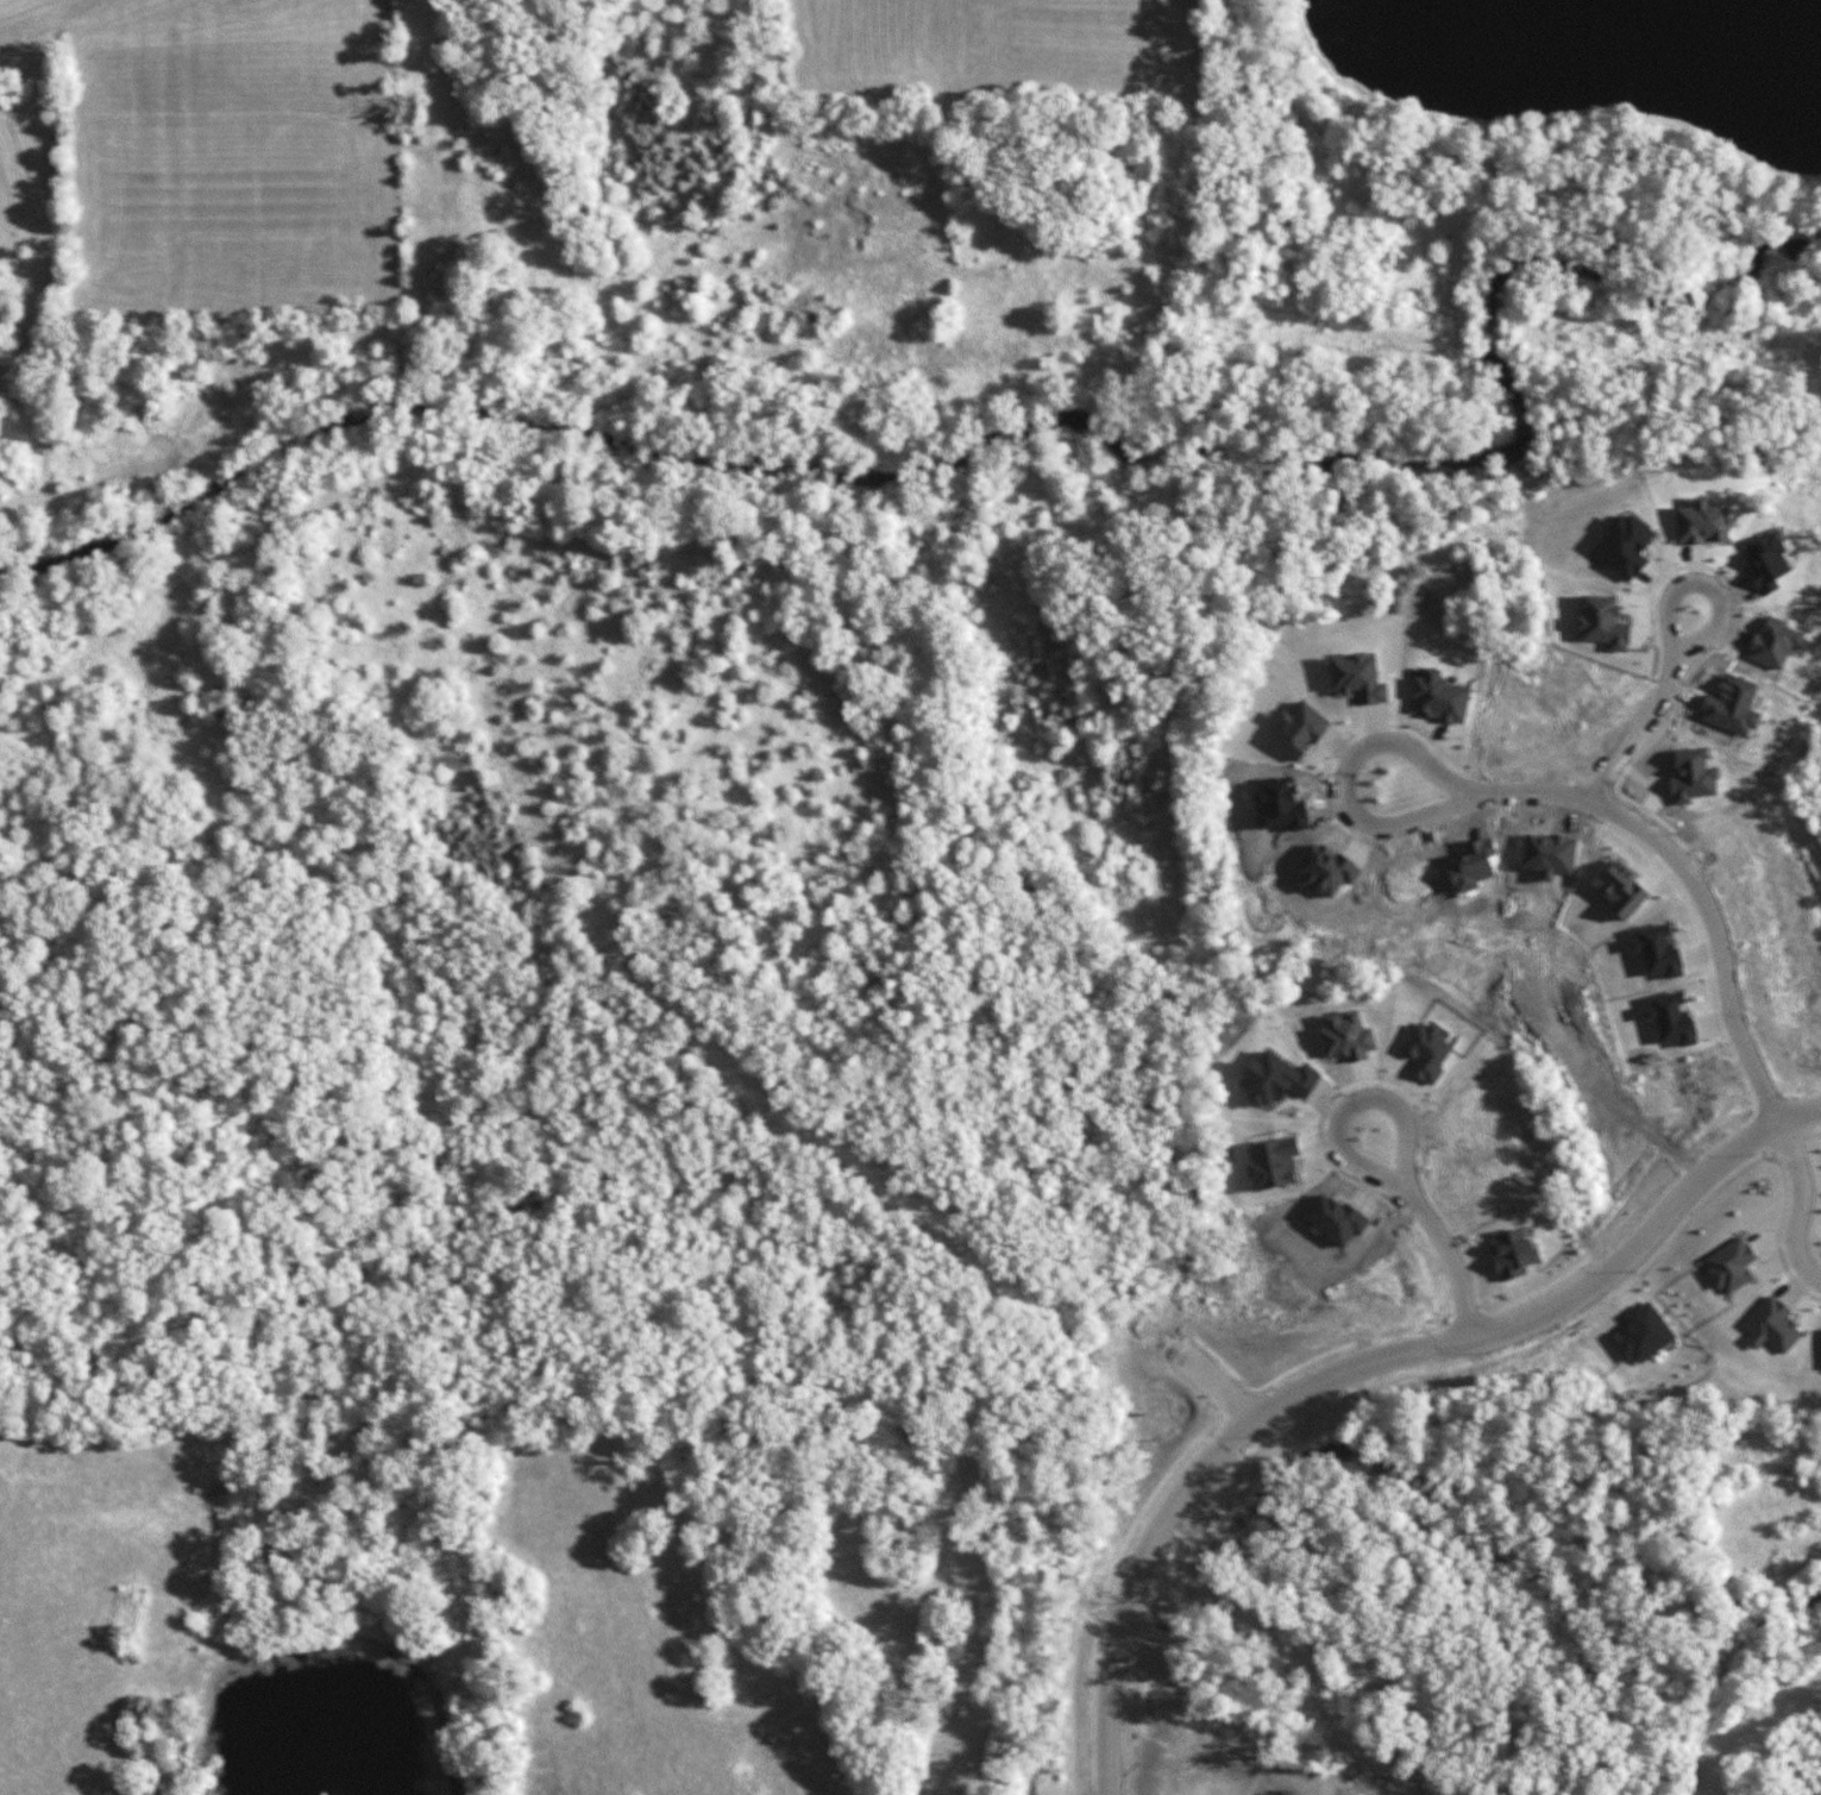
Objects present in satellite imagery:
building: (1626, 546)
building: (1603, 623)
road: (1674, 642)
building: (1360, 678)
building: (1300, 729)
road: (1557, 795)
building: (1658, 950)
building: (1671, 1018)
building: (1346, 1037)
building: (1427, 1053)
road: (1404, 1144)
building: (1273, 1163)
road: (1800, 1203)
road: (1643, 1231)
building: (1512, 1254)
building: (1731, 1266)
building: (1772, 1326)
building: (1641, 1335)
road: (1214, 1385)
road: (1187, 1494)

